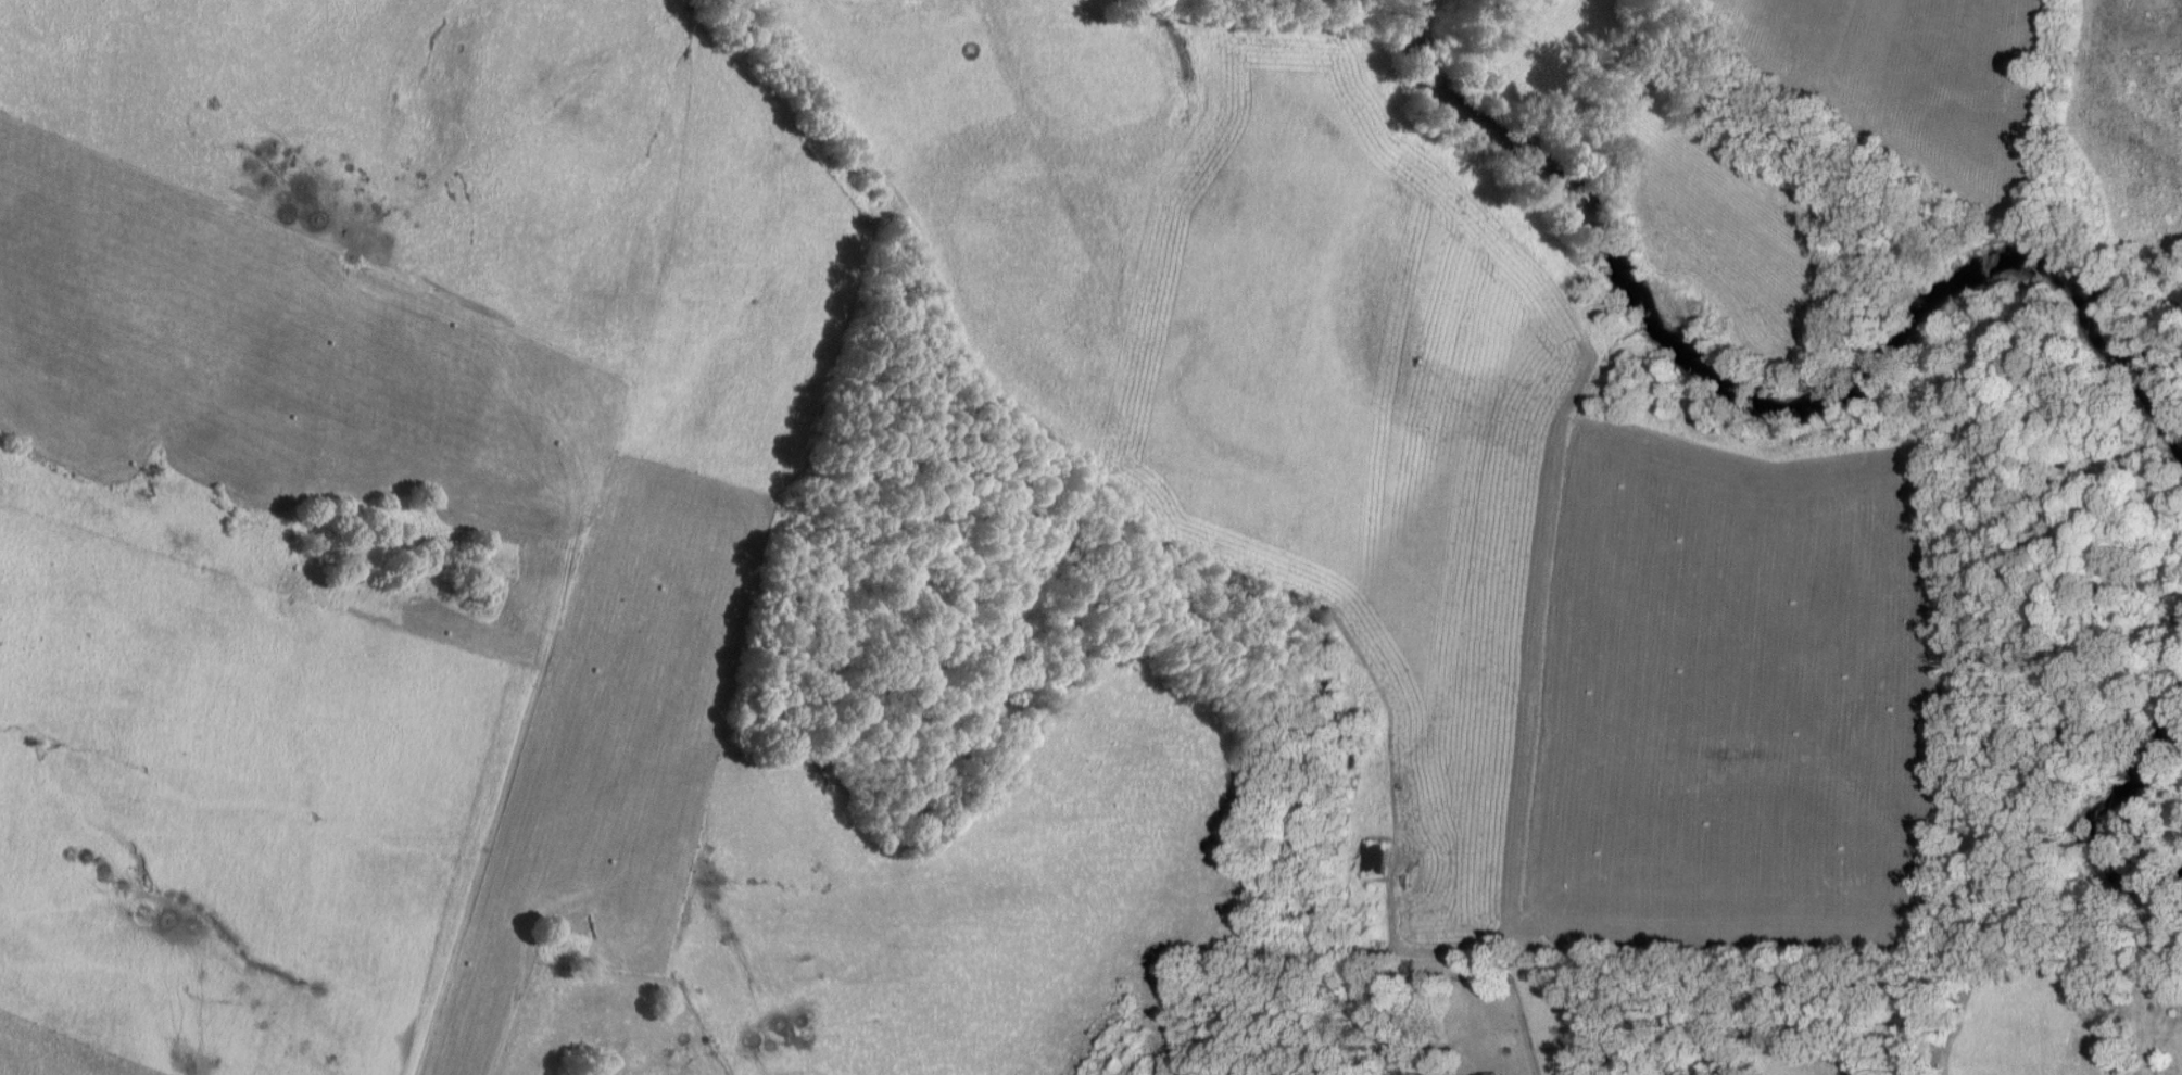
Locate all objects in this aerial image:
river: (1755, 397)
river: (2139, 808)

